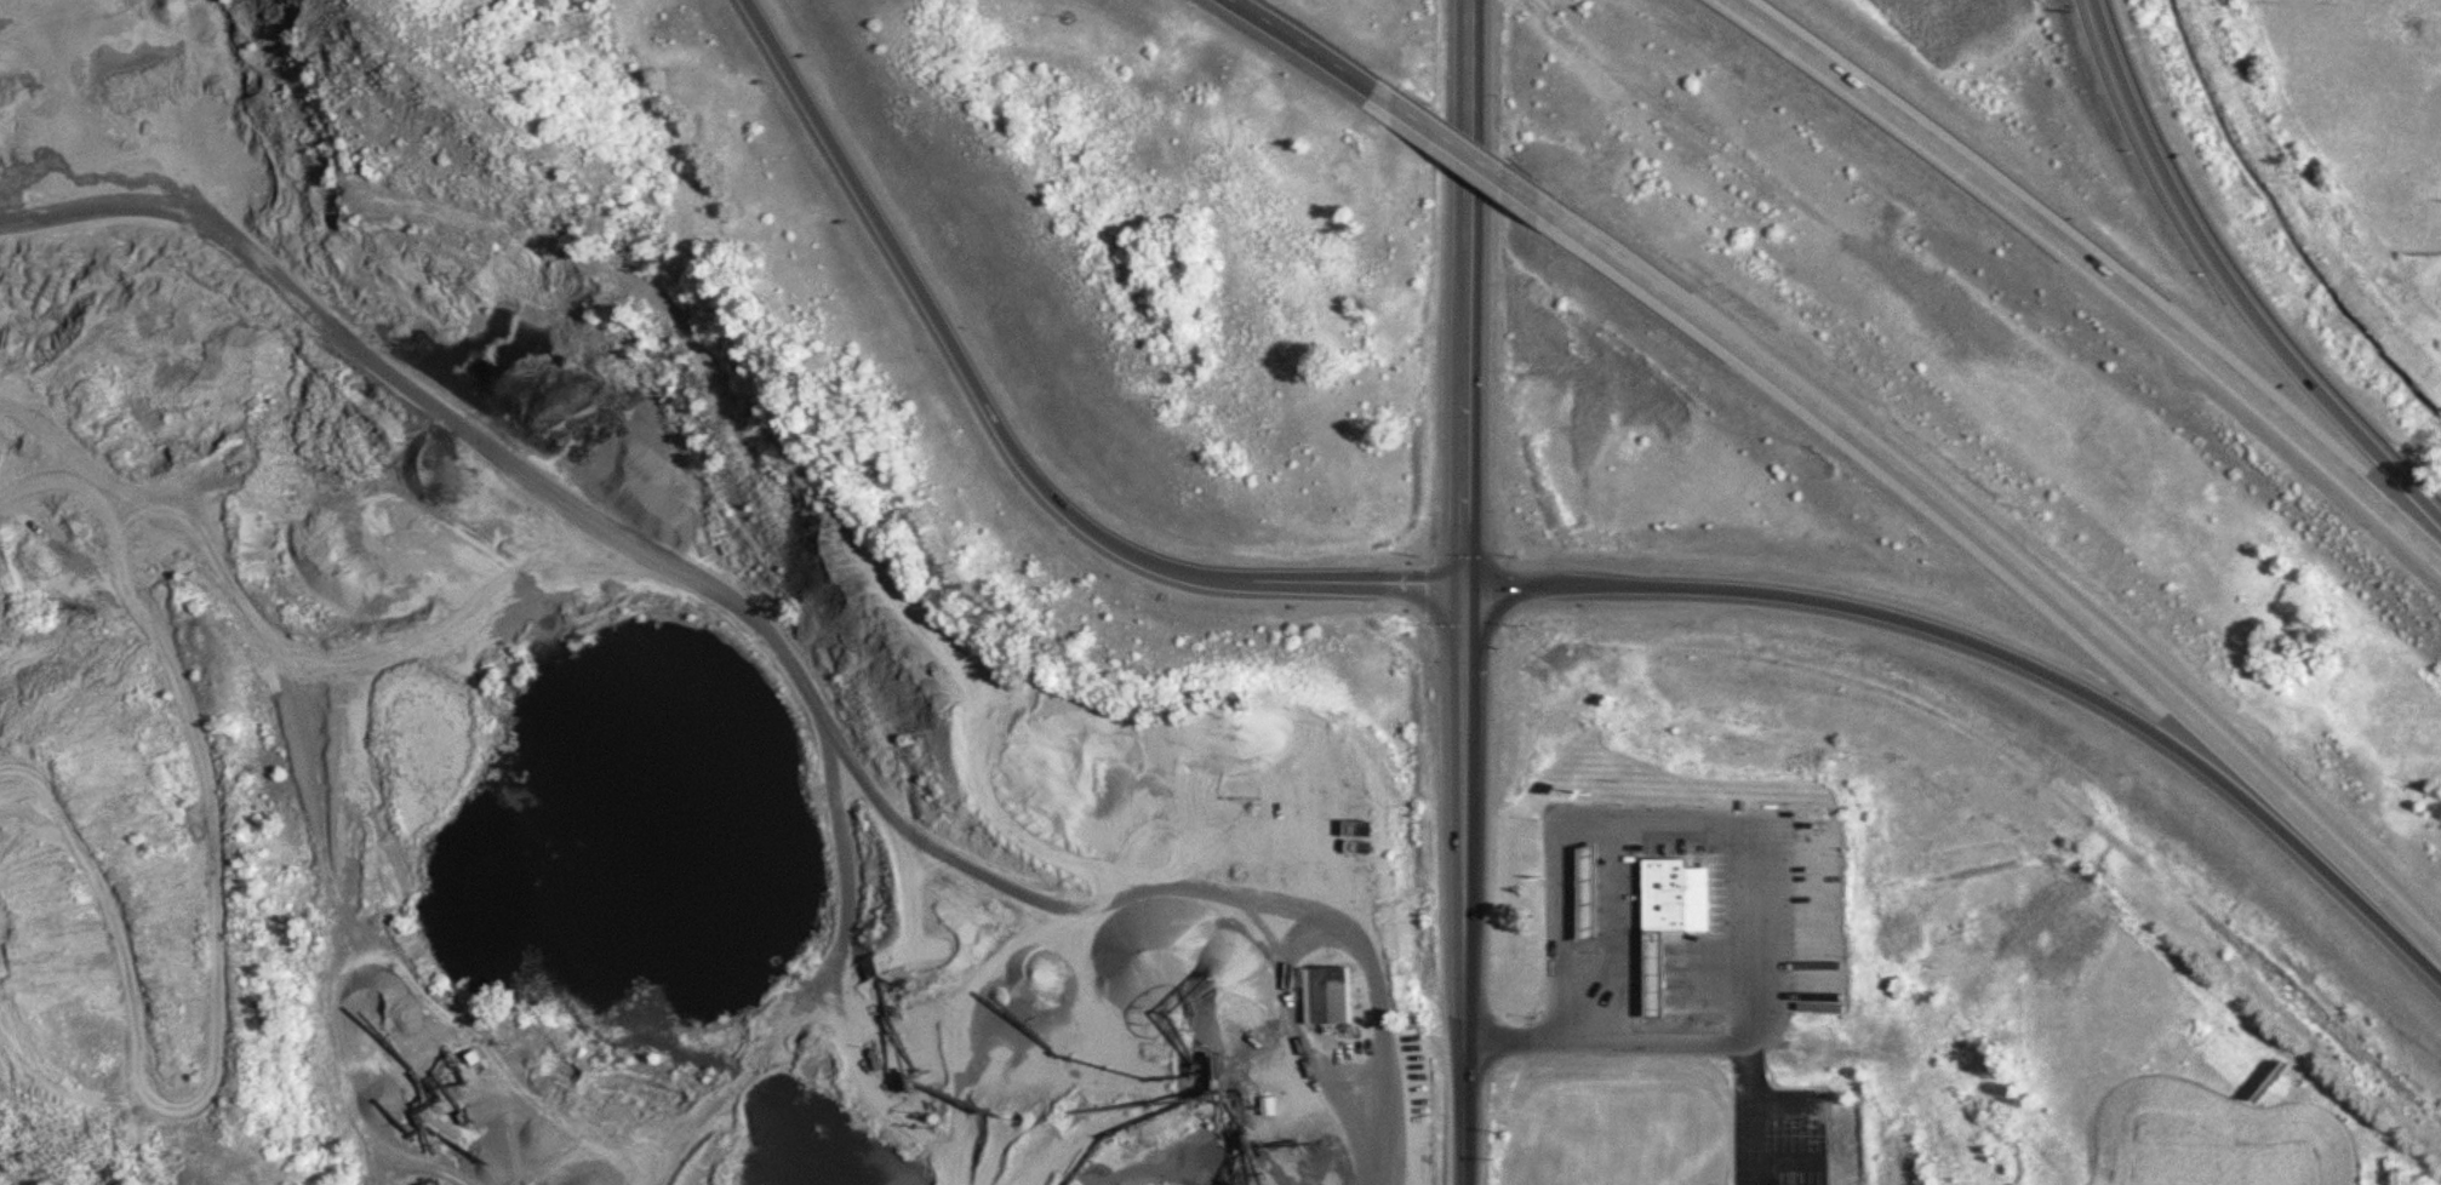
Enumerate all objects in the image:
road: (1303, 45)
road: (1459, 141)
road: (1470, 194)
building: (368, 248)
road: (2103, 258)
road: (2241, 271)
road: (964, 385)
road: (1470, 482)
road: (2003, 545)
road: (1394, 582)
road: (2010, 662)
quarry: (576, 691)
road: (1679, 822)
road: (1467, 880)
building: (1597, 891)
building: (1677, 892)
building: (1669, 973)
building: (1336, 996)
road: (1608, 1042)
building: (1271, 1106)

